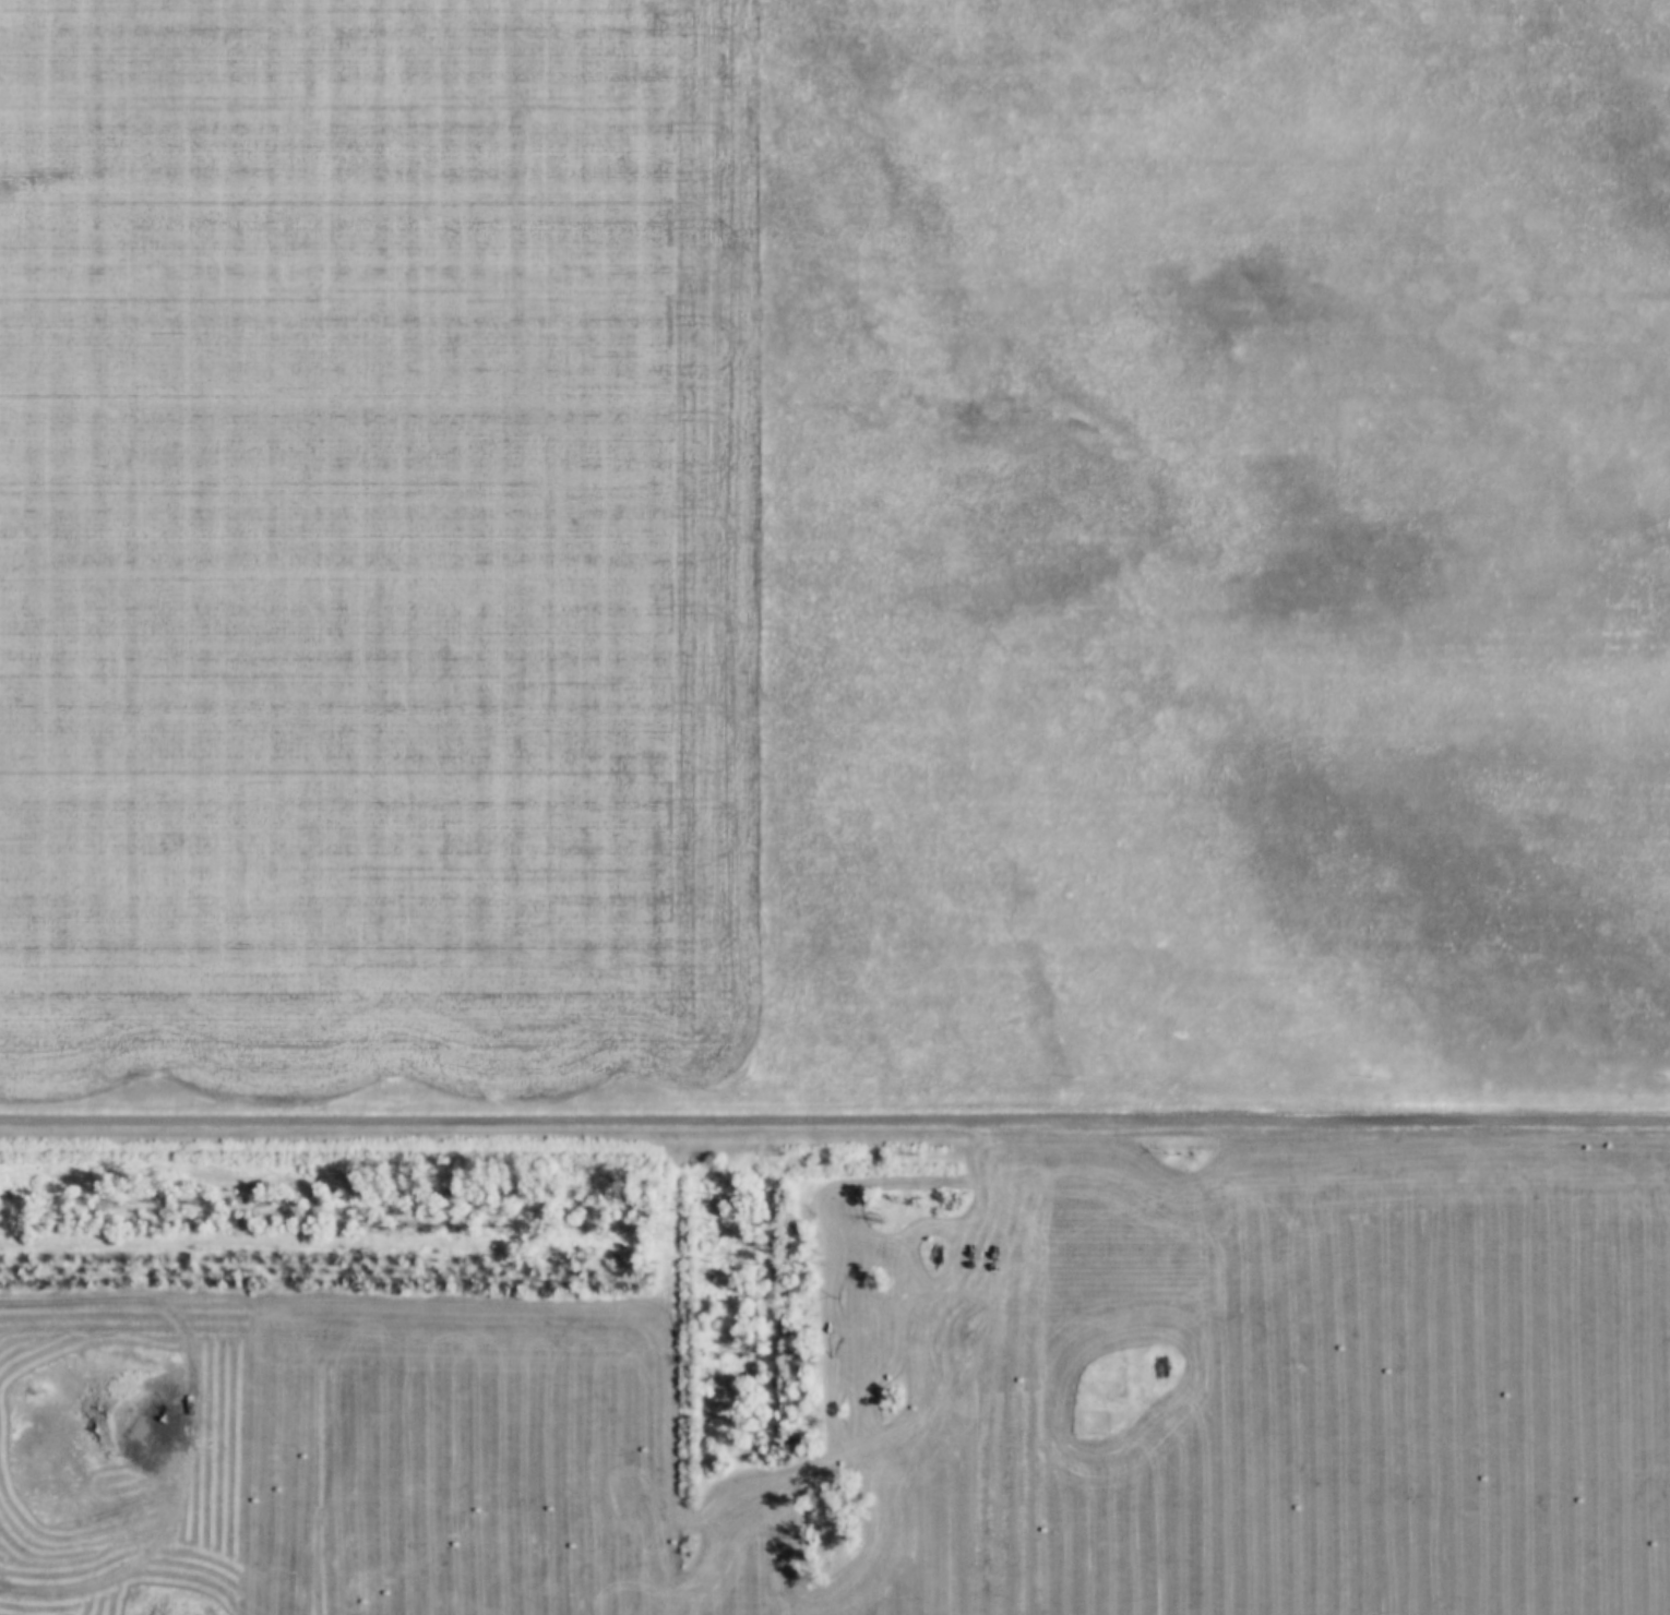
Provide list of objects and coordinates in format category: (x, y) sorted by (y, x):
road: (835, 1122)
quarry: (106, 1425)
quarry: (94, 1571)

